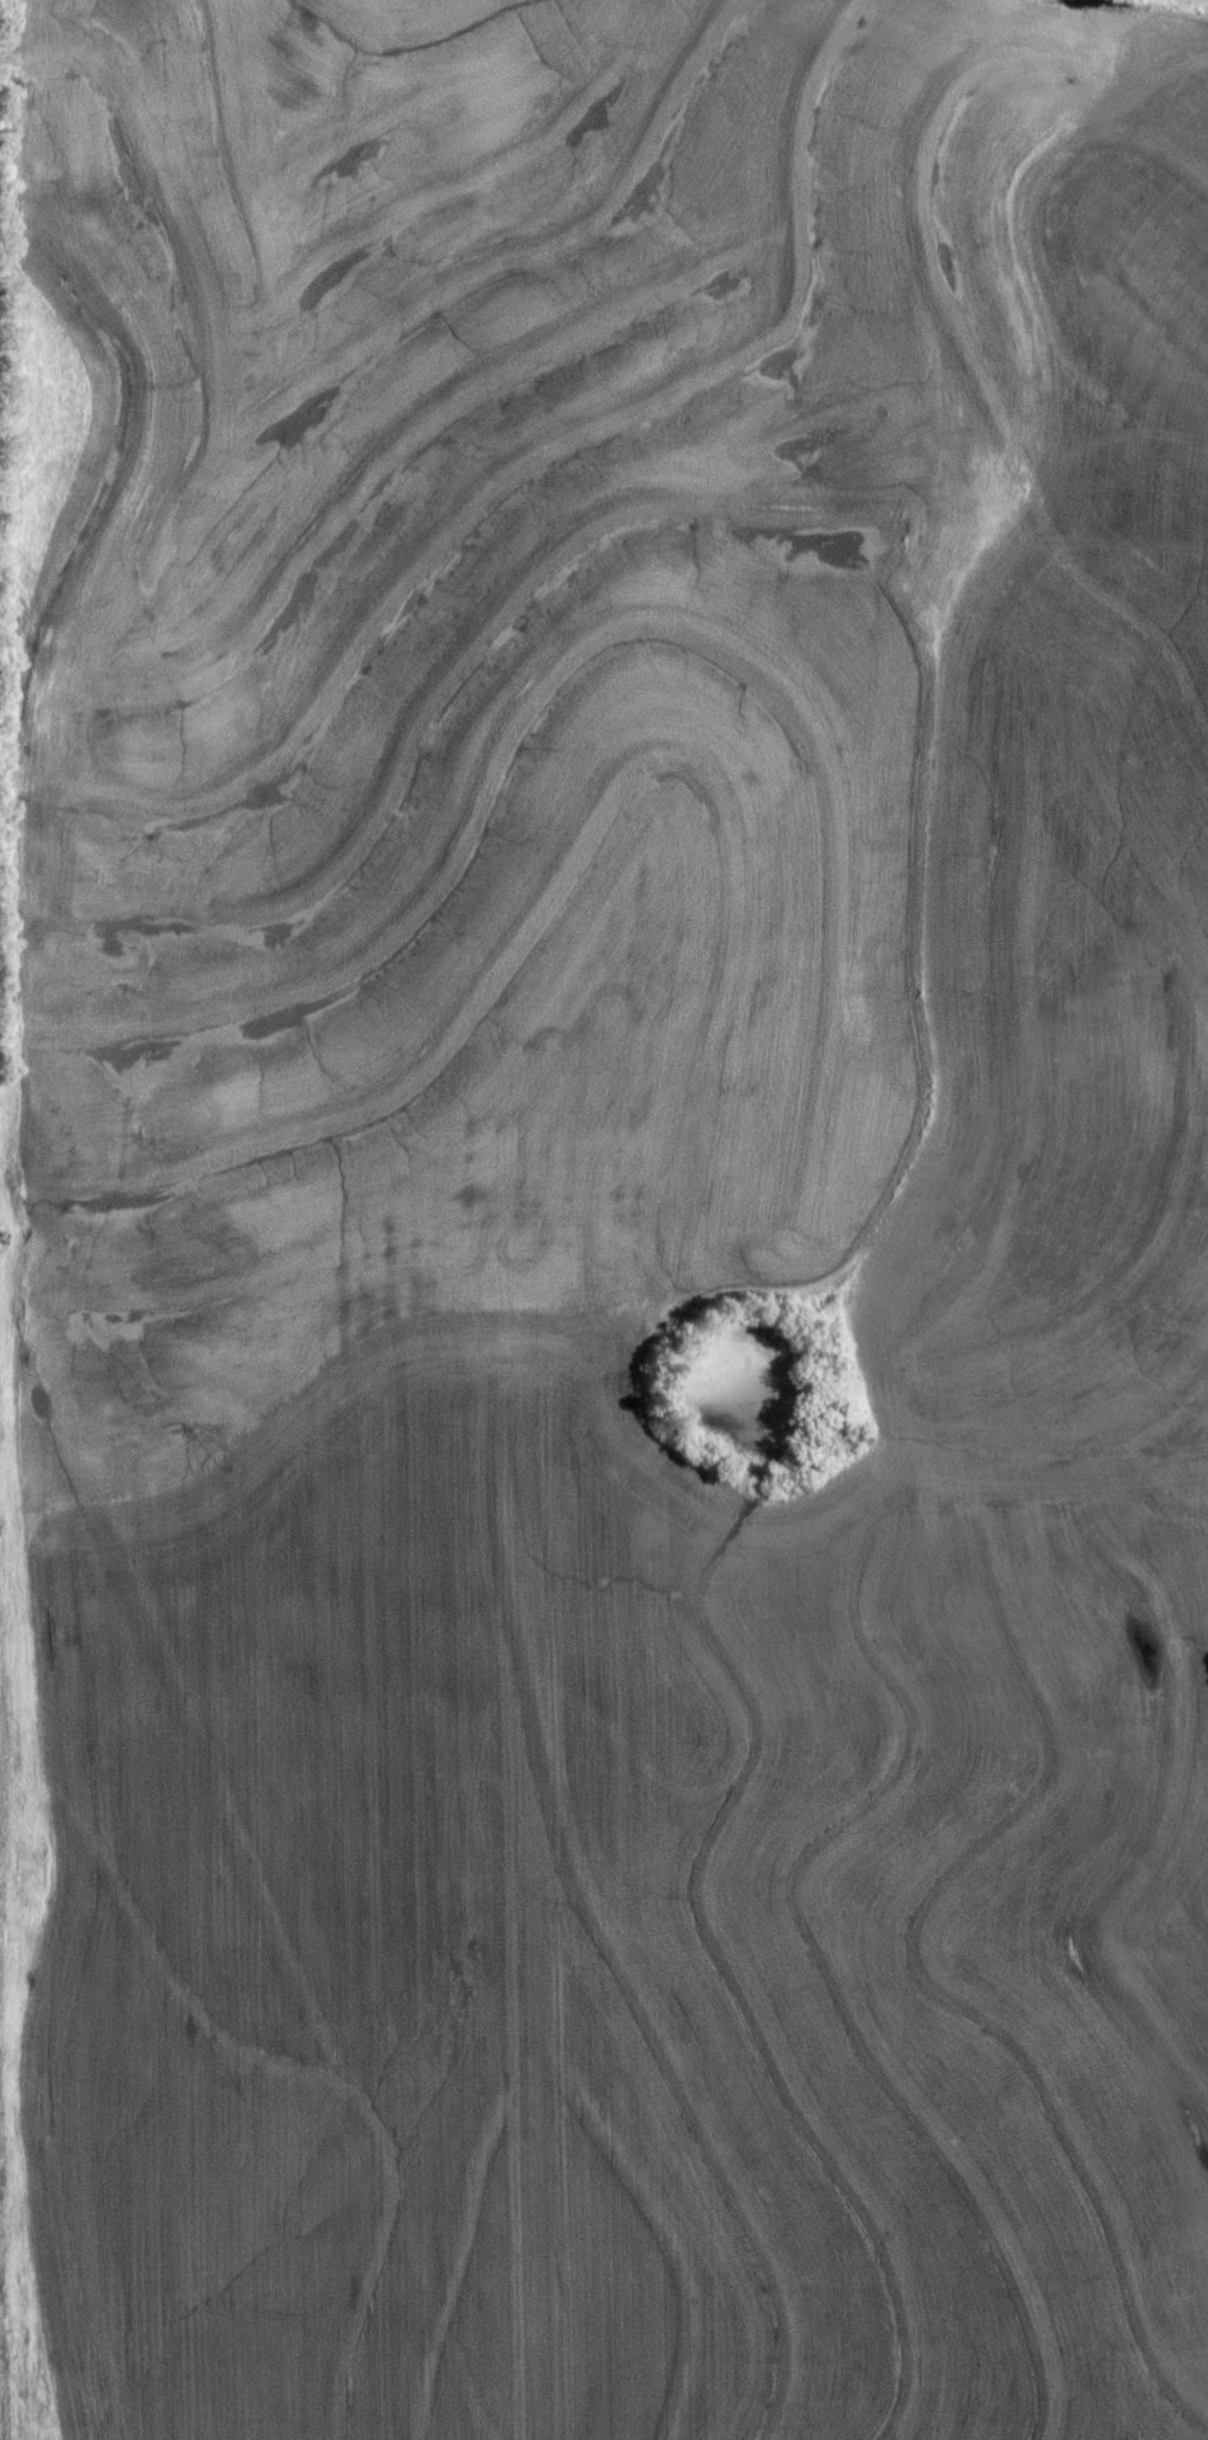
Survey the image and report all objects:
road: (1114, 6)

